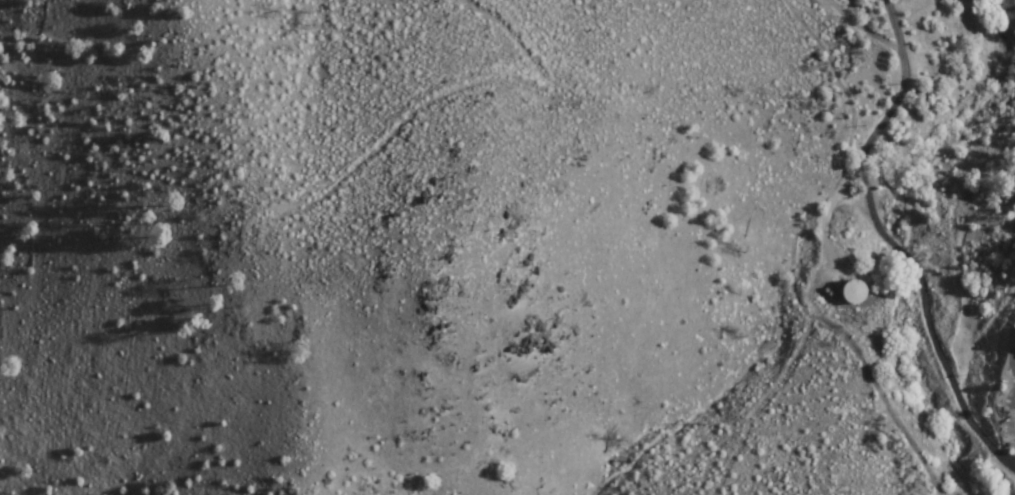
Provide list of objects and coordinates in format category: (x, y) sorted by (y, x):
building: (856, 293)

